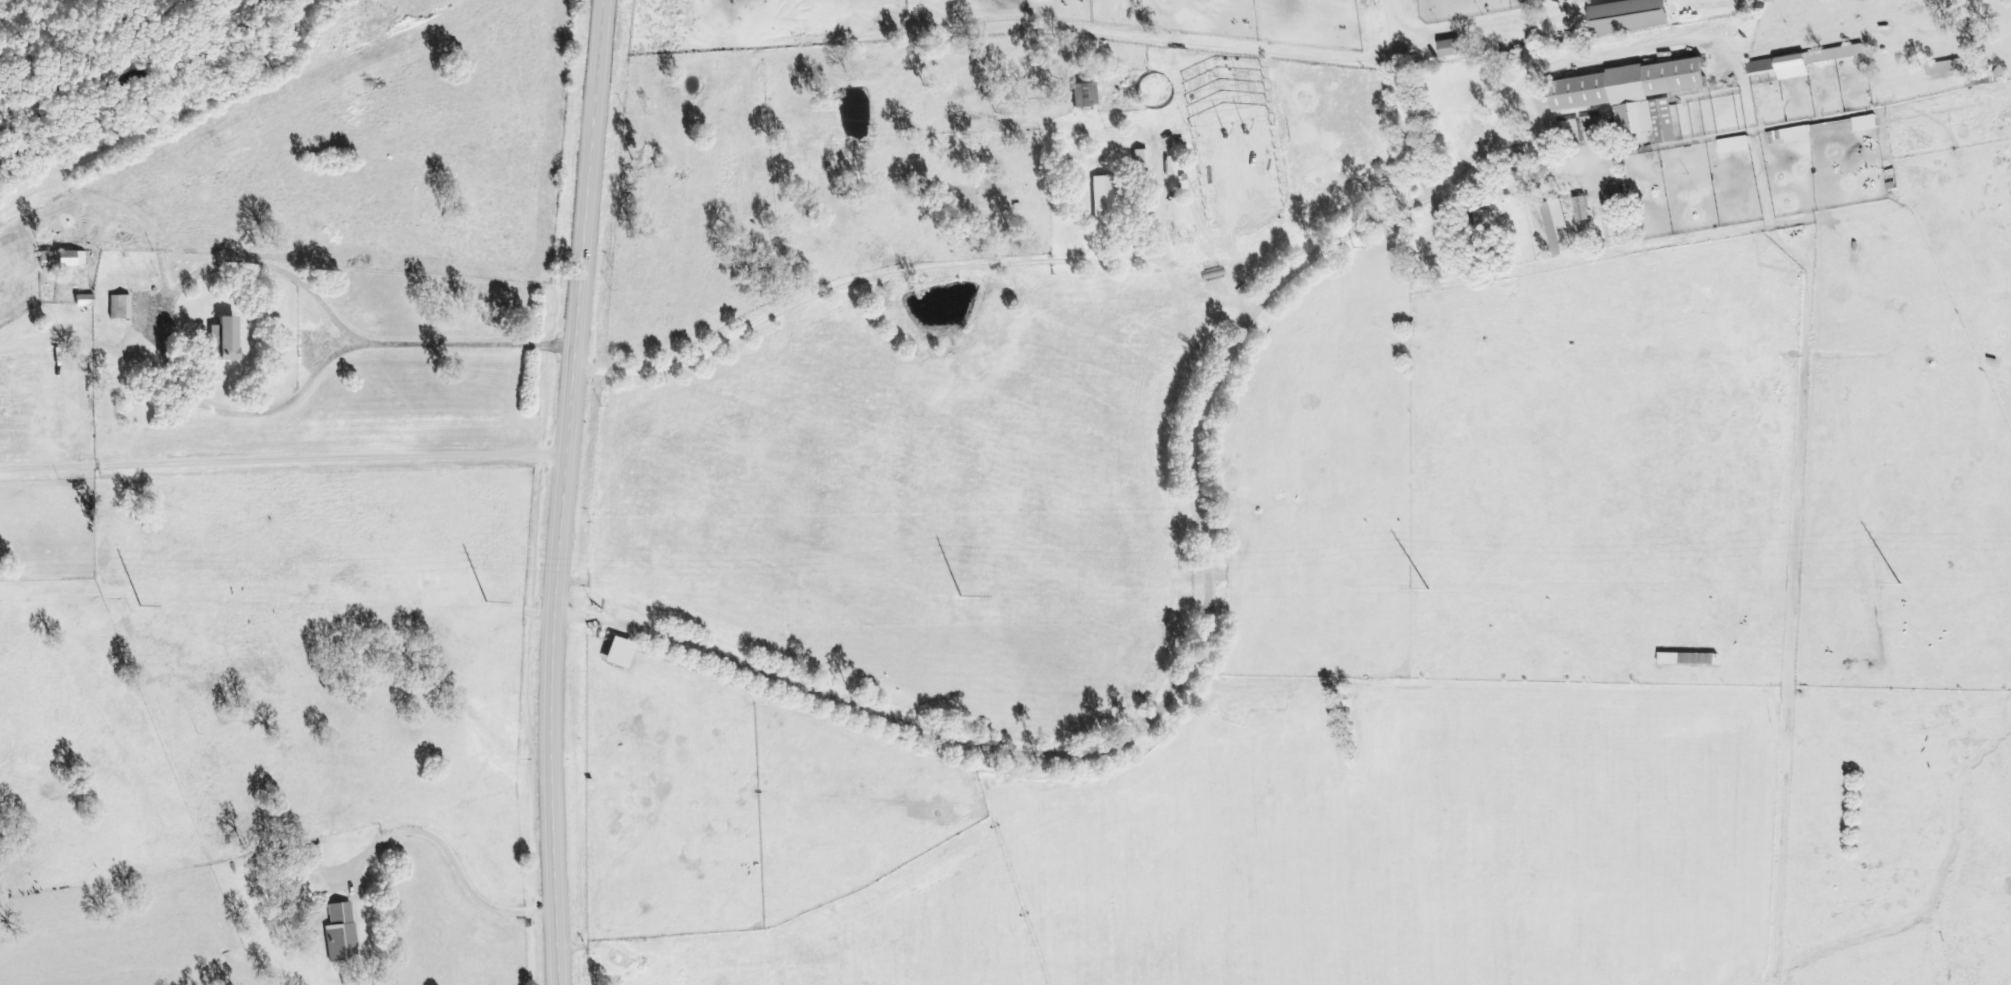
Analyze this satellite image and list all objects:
road: (1709, 5)
building: (1632, 16)
road: (1481, 27)
building: (1454, 48)
building: (1784, 68)
building: (1085, 95)
building: (1635, 95)
building: (1792, 136)
building: (1736, 146)
building: (1142, 159)
road: (1435, 184)
building: (1103, 201)
building: (1585, 210)
building: (1486, 219)
building: (1561, 225)
building: (71, 259)
road: (230, 265)
road: (843, 277)
building: (85, 301)
building: (121, 308)
building: (221, 329)
road: (283, 461)
road: (563, 491)
power tower: (1904, 584)
power tower: (1428, 591)
power tower: (959, 596)
power tower: (487, 602)
power tower: (140, 606)
building: (619, 653)
building: (1691, 660)
road: (1060, 750)
road: (447, 861)
building: (342, 934)

